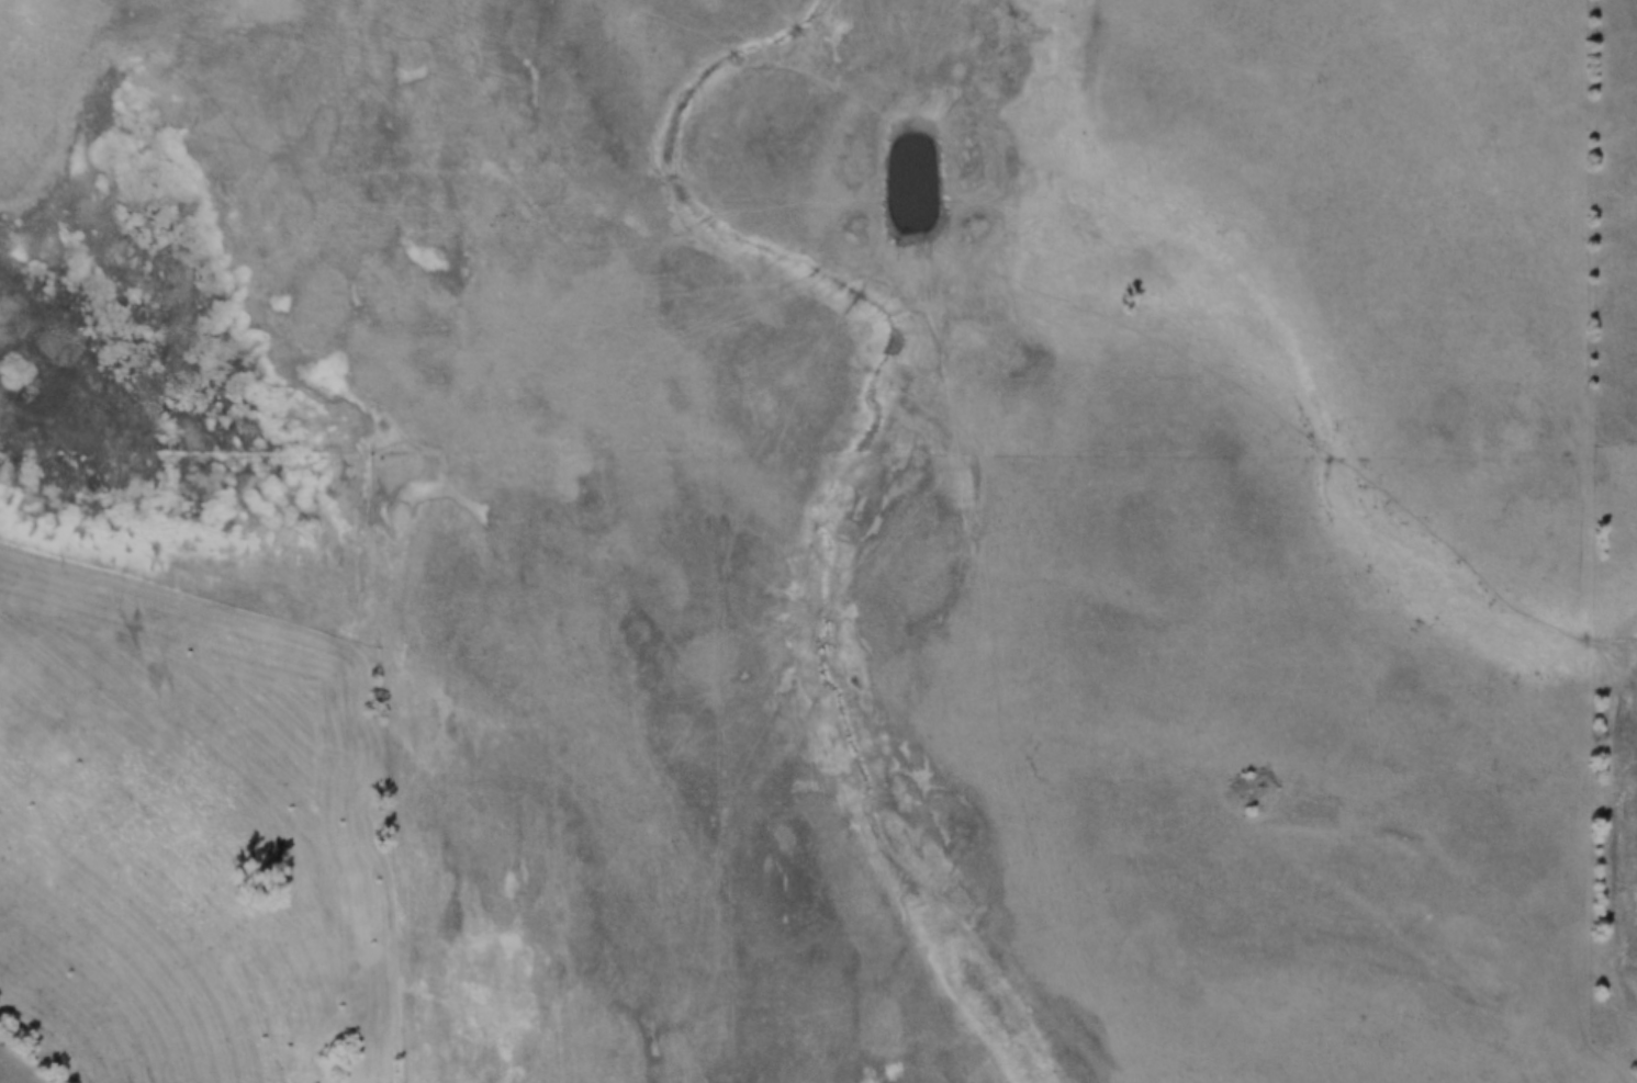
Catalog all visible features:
road: (1555, 1023)

